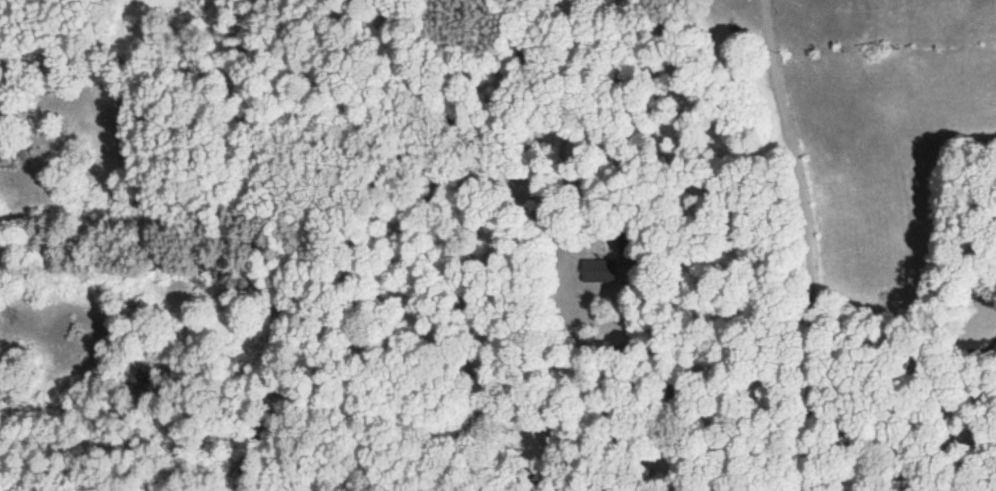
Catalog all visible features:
road: (807, 244)

